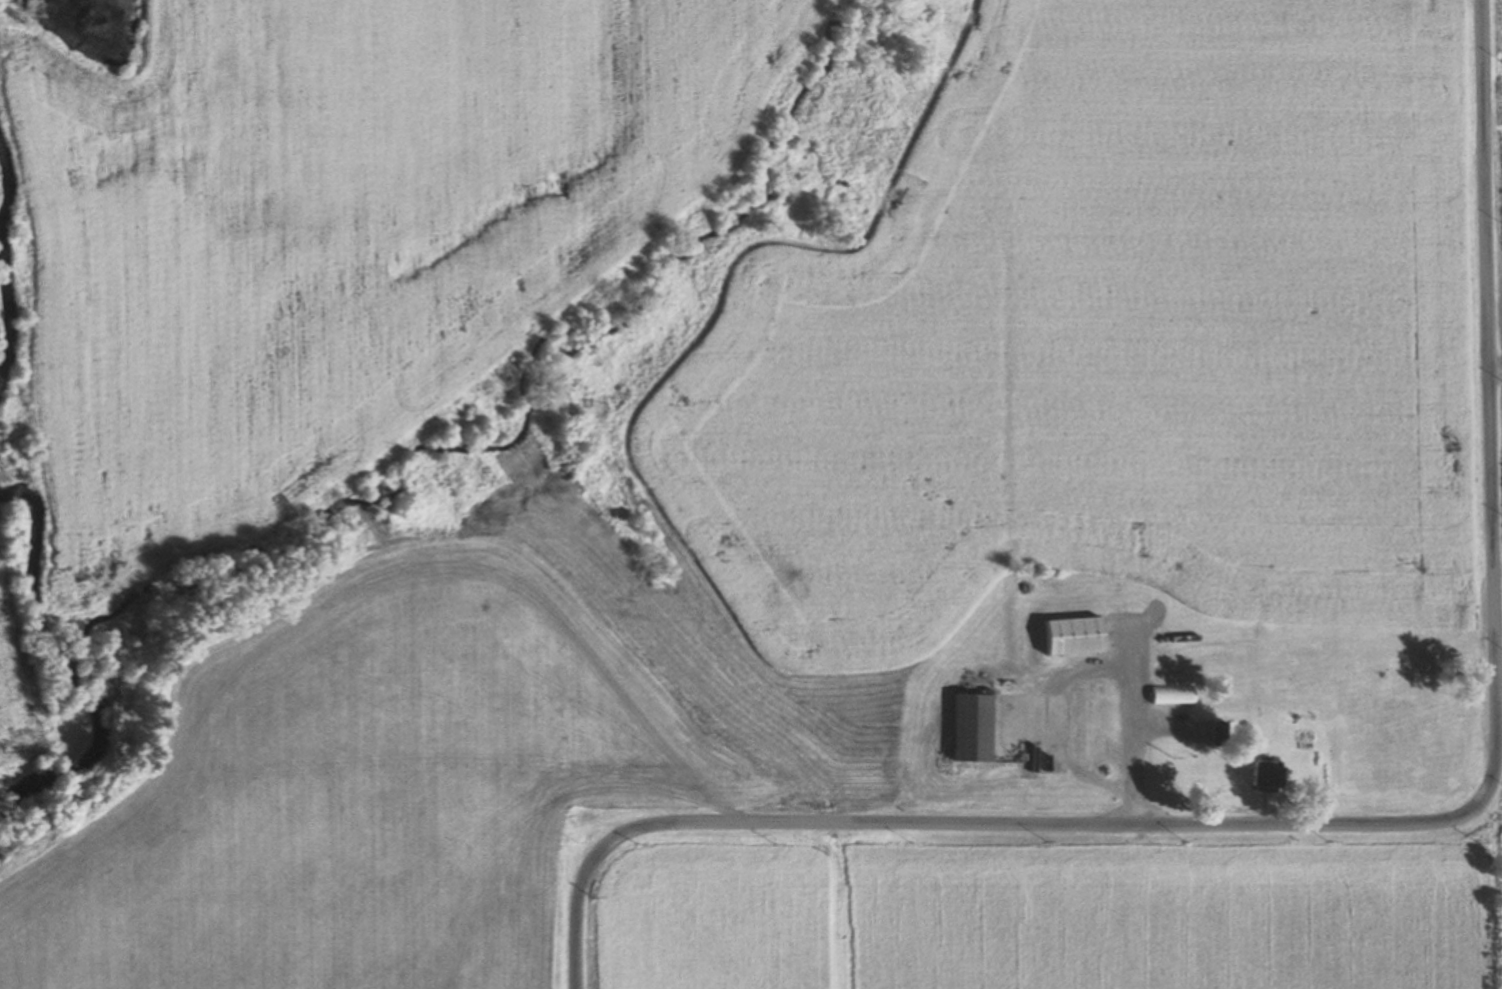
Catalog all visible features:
road: (1496, 370)
road: (555, 607)
building: (1073, 633)
road: (1087, 666)
building: (1171, 691)
road: (1165, 723)
building: (973, 725)
road: (1130, 729)
building: (1265, 775)
road: (564, 815)
road: (1366, 820)

